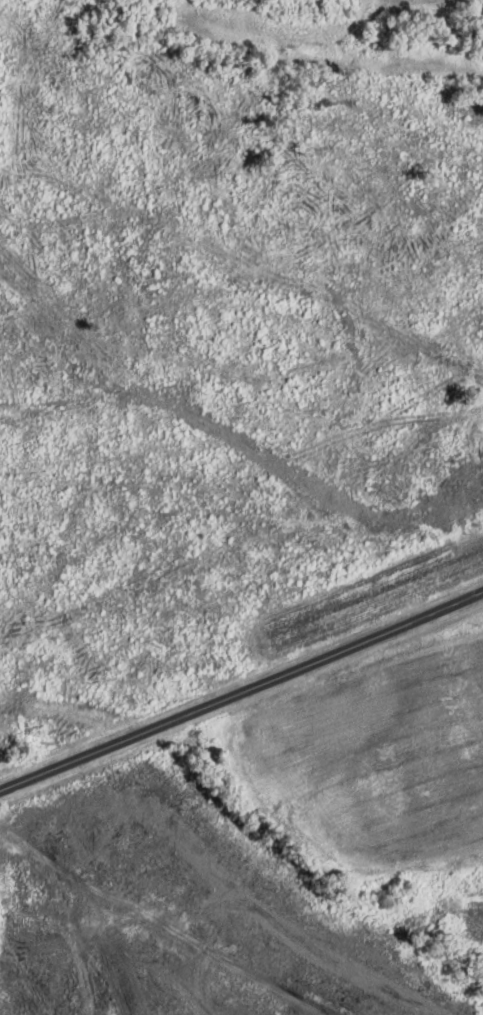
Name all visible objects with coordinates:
road: (240, 689)

